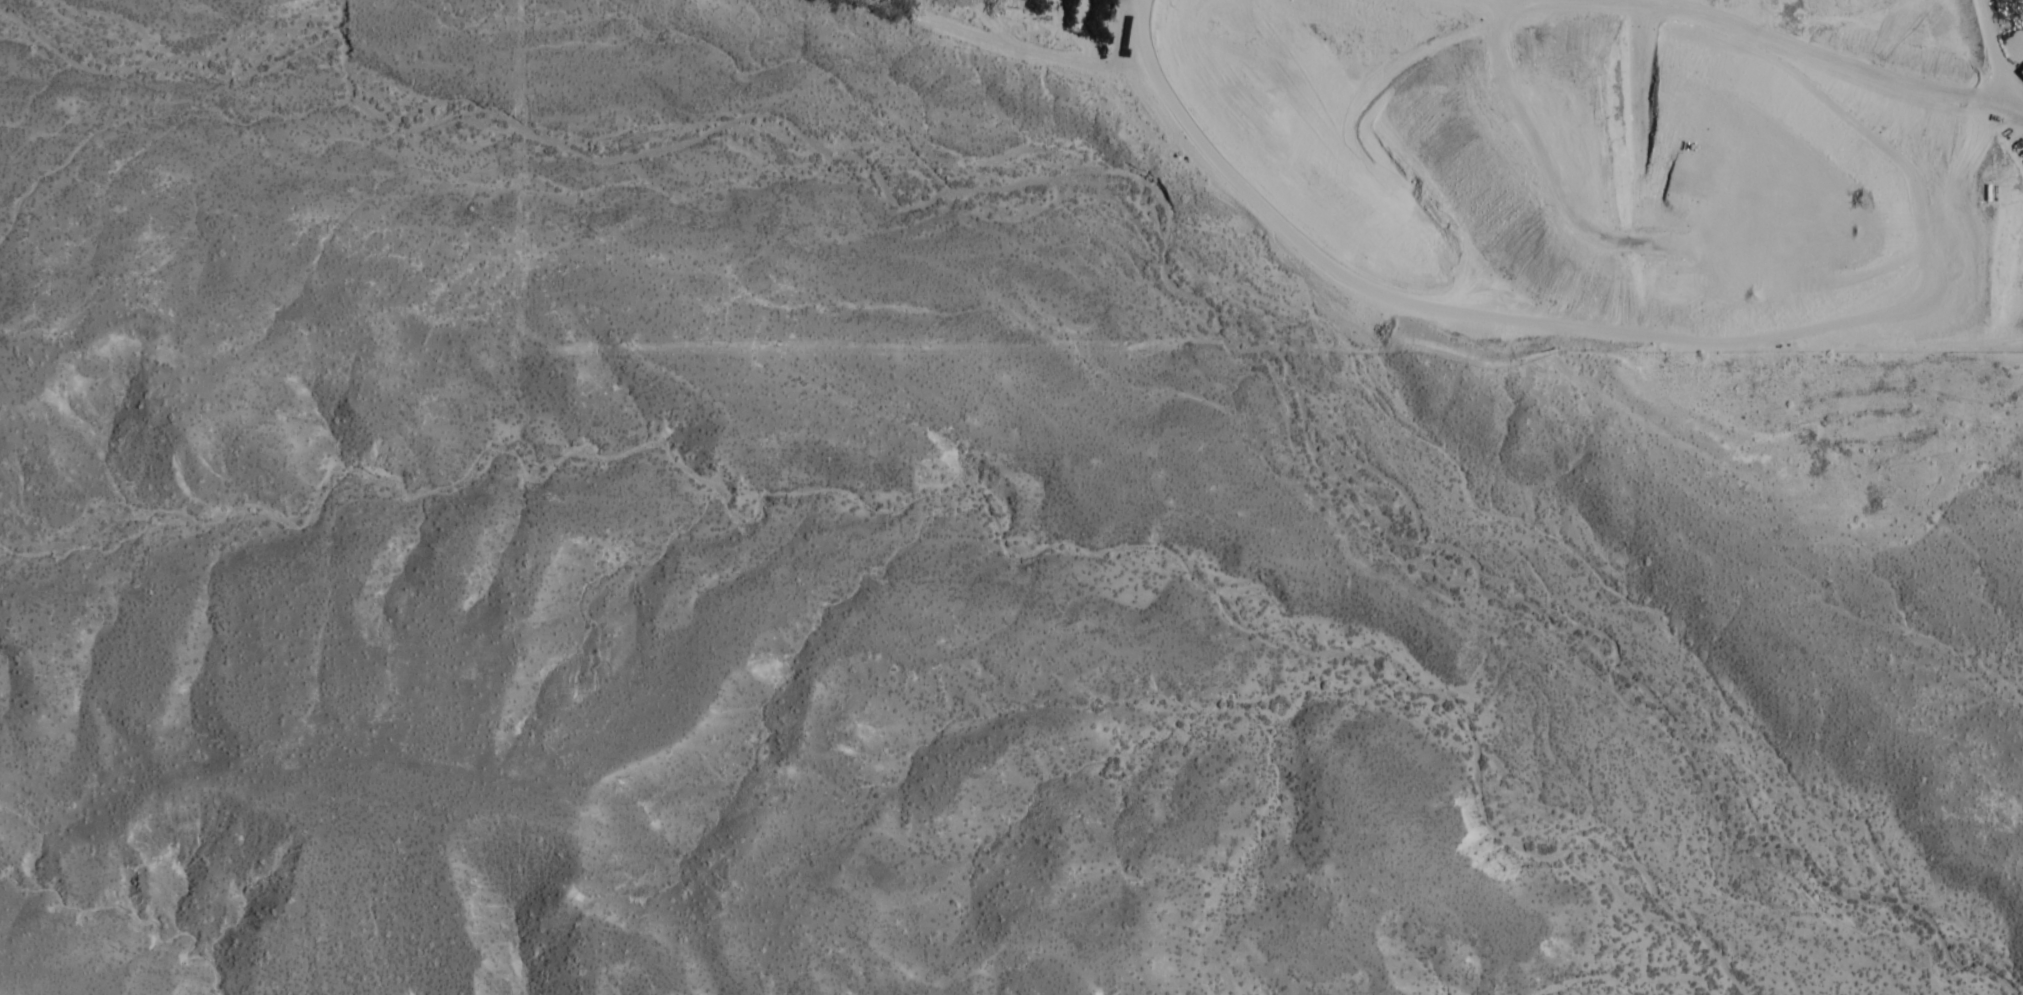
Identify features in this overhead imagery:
landfill: (1629, 164)

